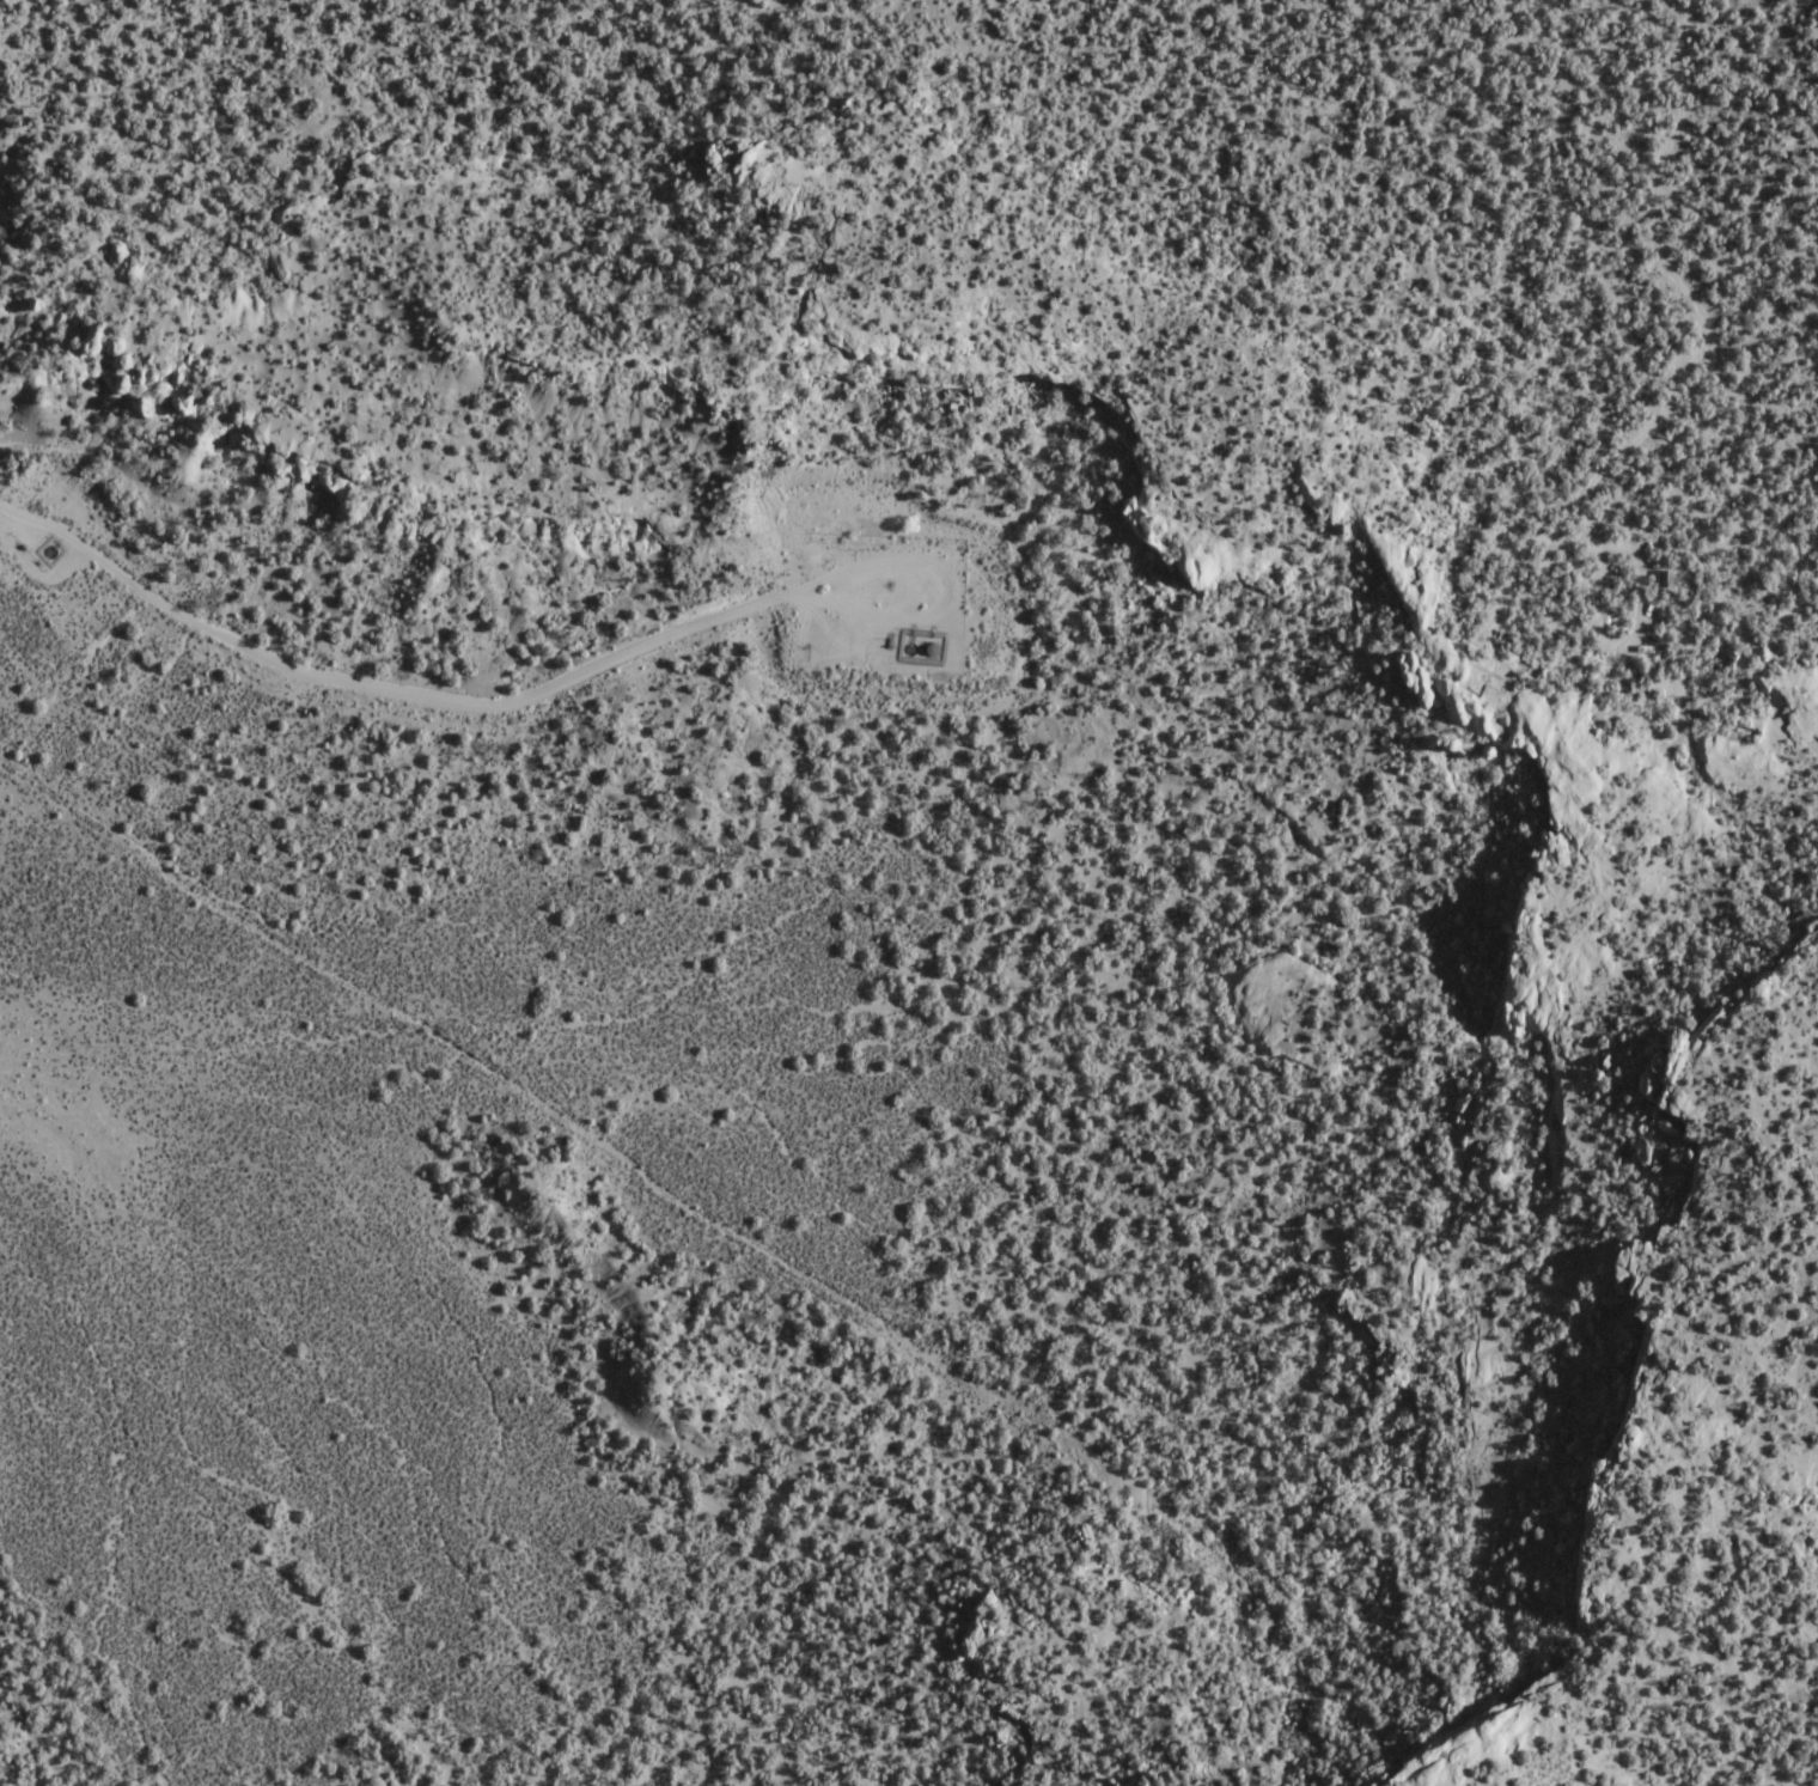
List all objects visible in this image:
building: (1657, 579)

